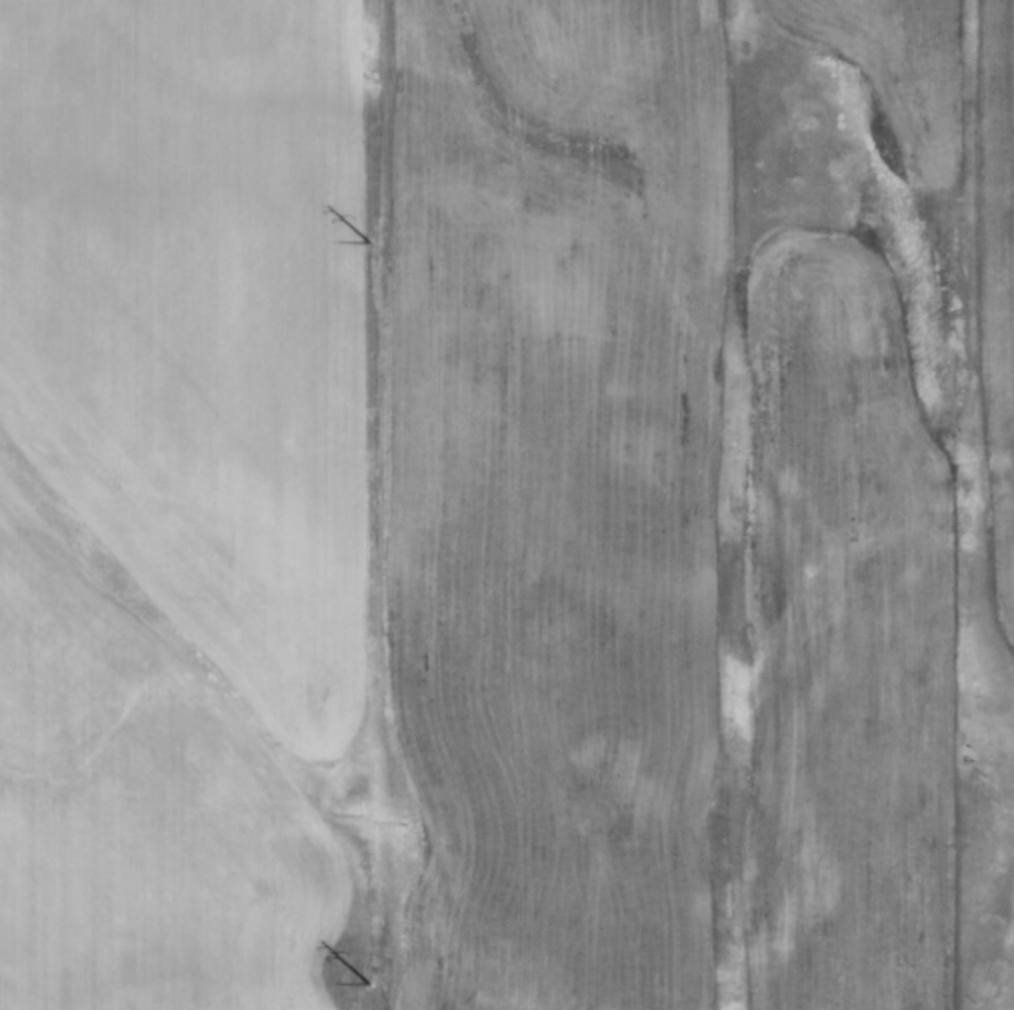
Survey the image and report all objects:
power tower: (373, 239)
power tower: (380, 982)

